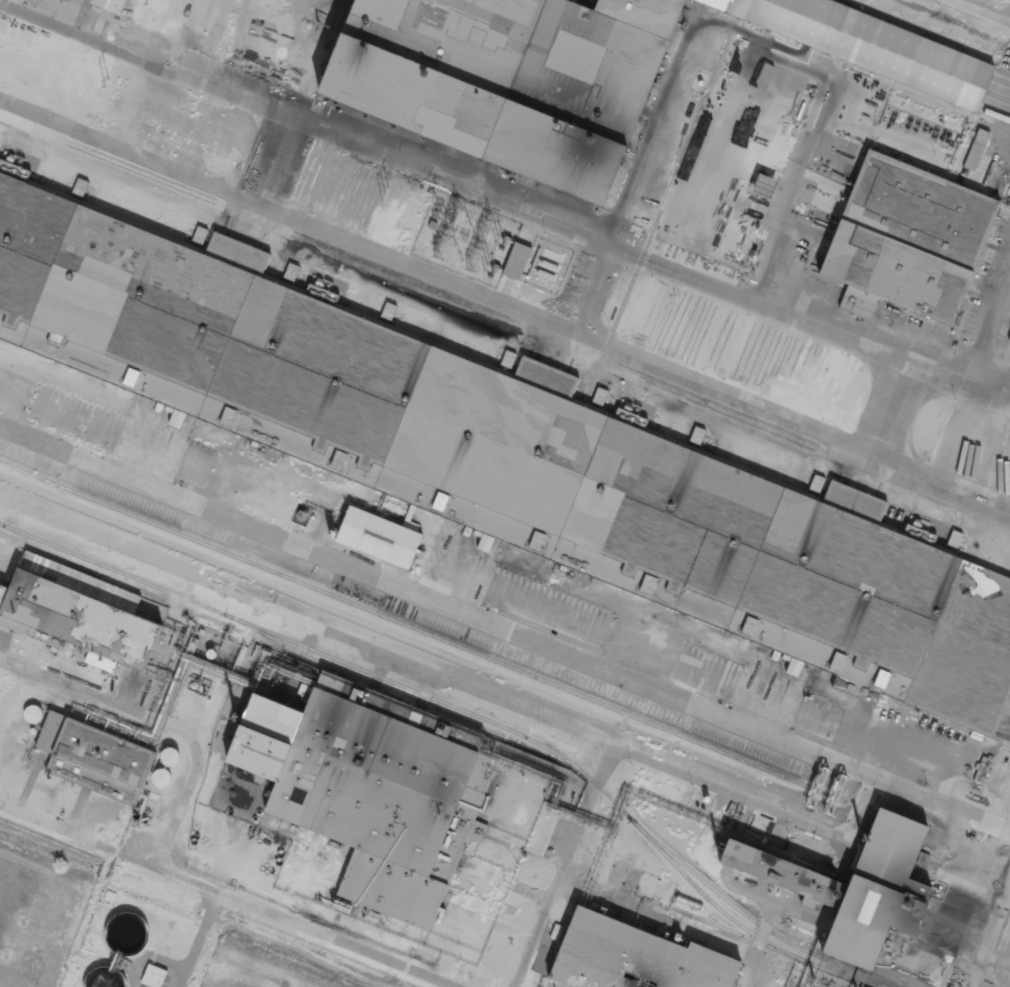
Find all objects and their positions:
building: (419, 0)
building: (111, 5)
building: (386, 10)
railway: (936, 24)
railway: (918, 28)
building: (597, 71)
power tower: (108, 85)
building: (980, 141)
building: (18, 169)
building: (765, 184)
power tower: (384, 194)
building: (904, 236)
power substation: (466, 239)
building: (517, 260)
road: (855, 340)
building: (503, 455)
building: (379, 536)
railway: (120, 582)
building: (71, 621)
railway: (425, 633)
building: (794, 665)
railway: (386, 692)
railway: (433, 698)
building: (95, 757)
building: (856, 886)
railway: (752, 918)
railway: (771, 946)
building: (635, 958)
building: (154, 975)

